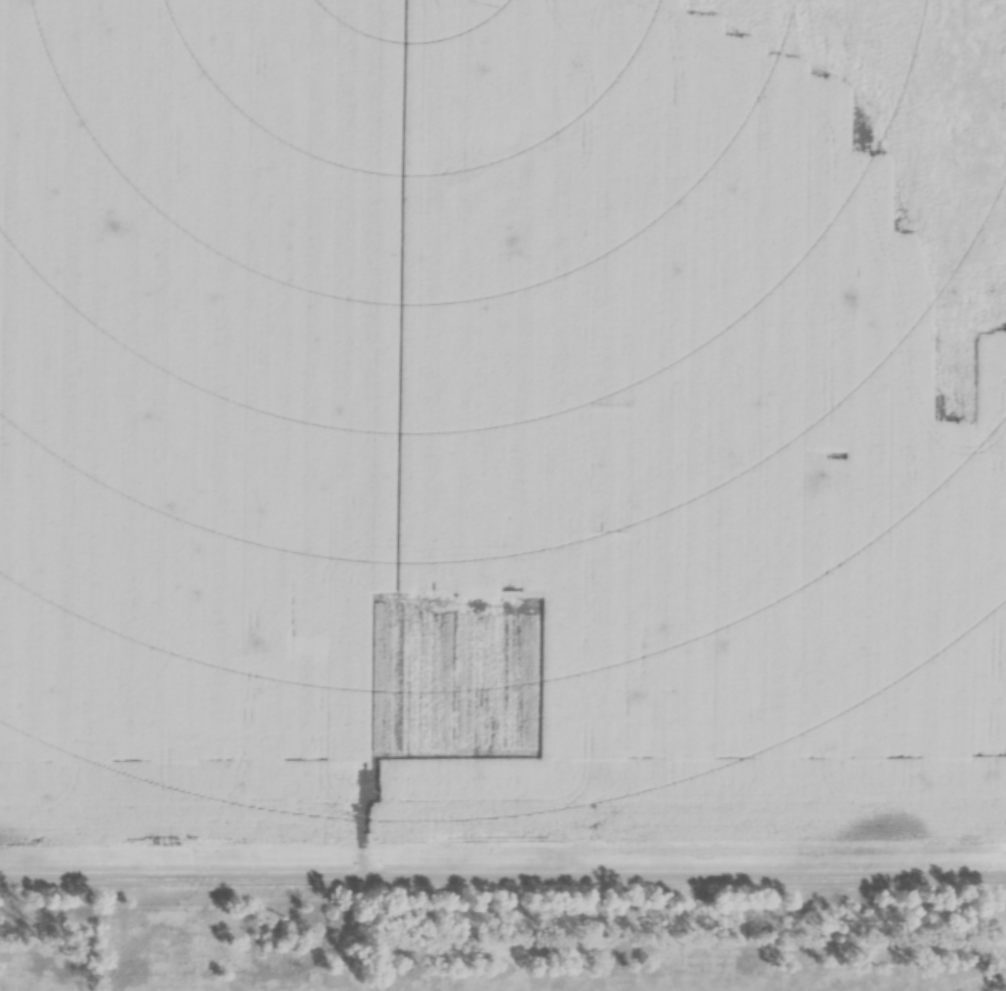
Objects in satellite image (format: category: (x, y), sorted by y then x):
road: (503, 876)

